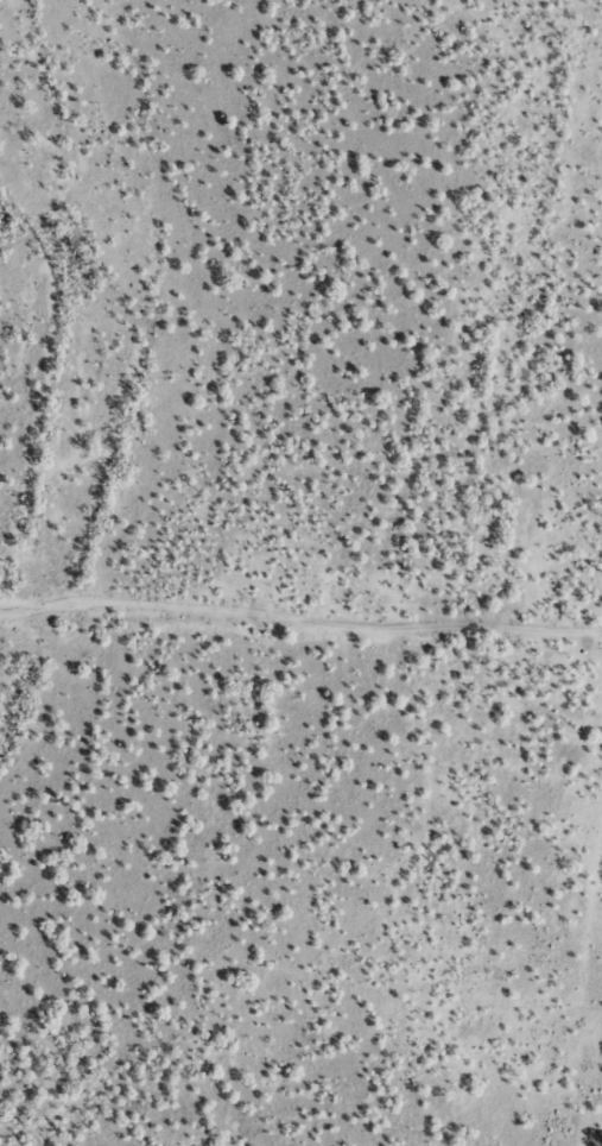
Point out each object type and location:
road: (300, 714)

